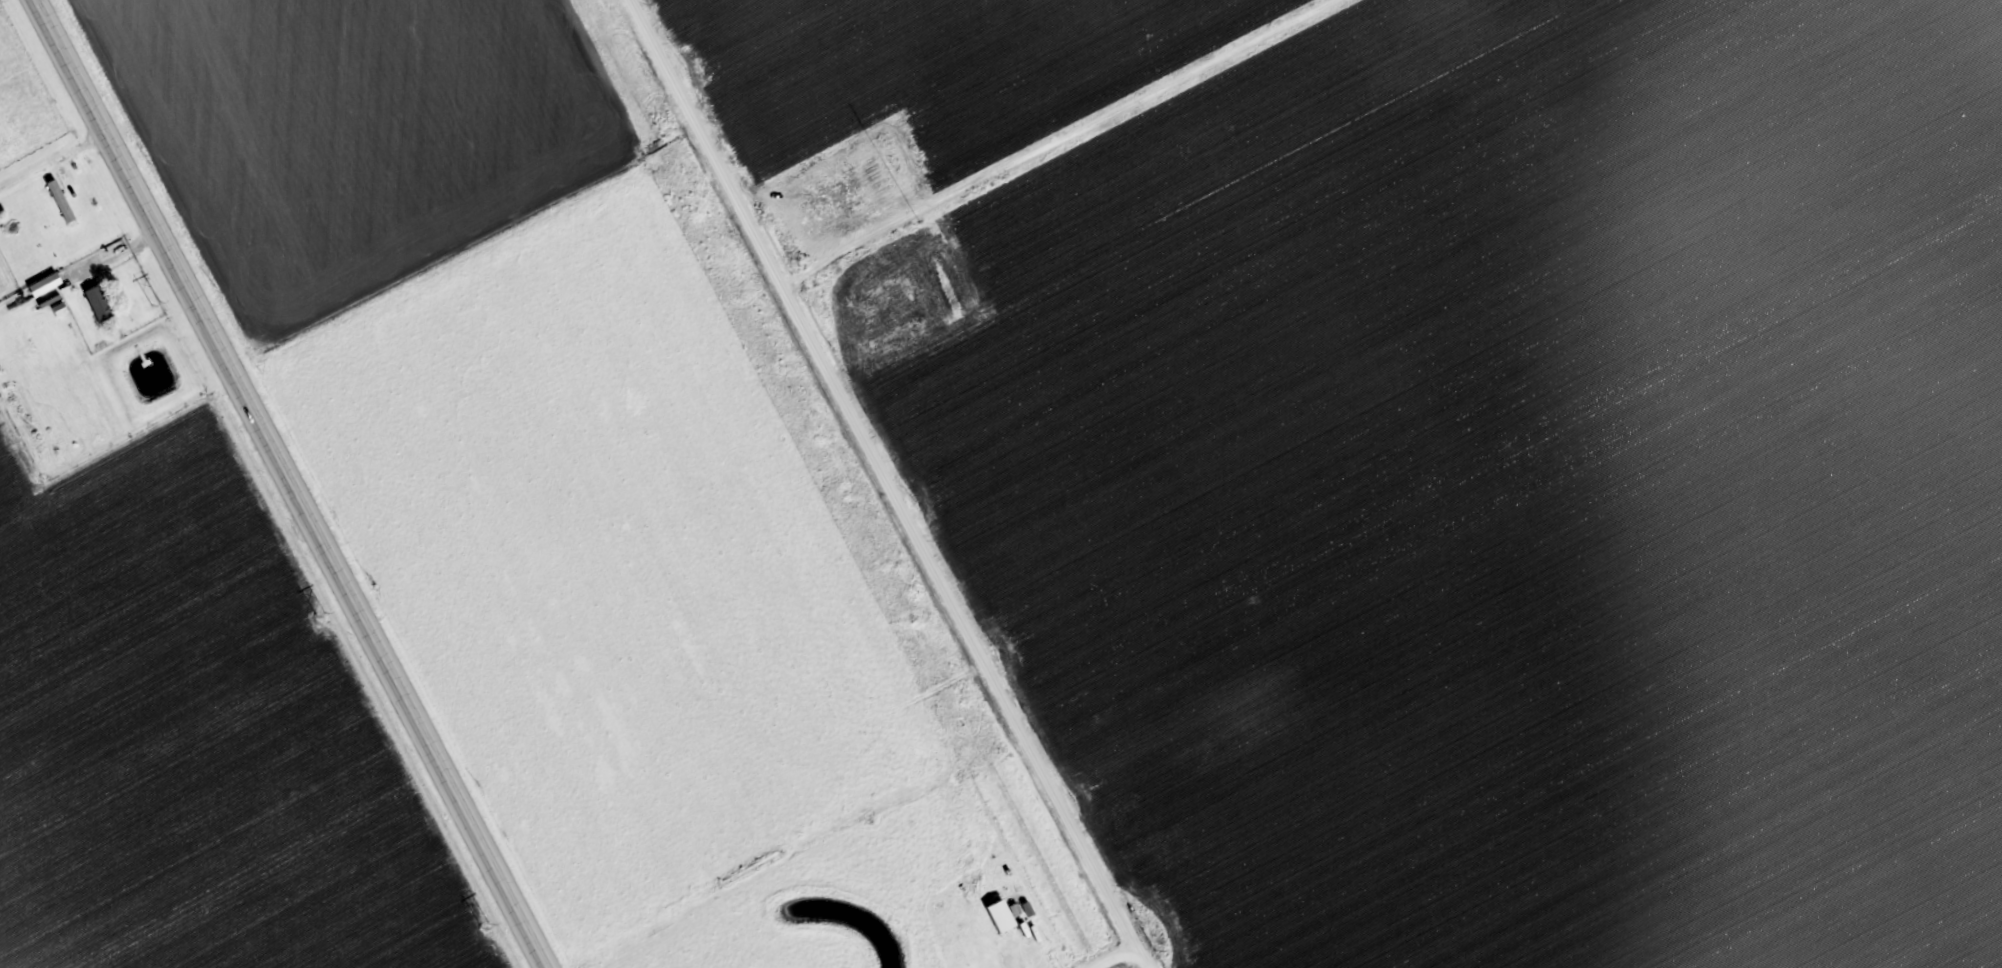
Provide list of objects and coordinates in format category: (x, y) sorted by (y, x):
road: (93, 265)
building: (46, 285)
power tower: (155, 304)
road: (895, 483)
road: (282, 484)
railway: (820, 484)
power tower: (320, 615)
building: (1002, 915)
power tower: (485, 928)
road: (1117, 957)

